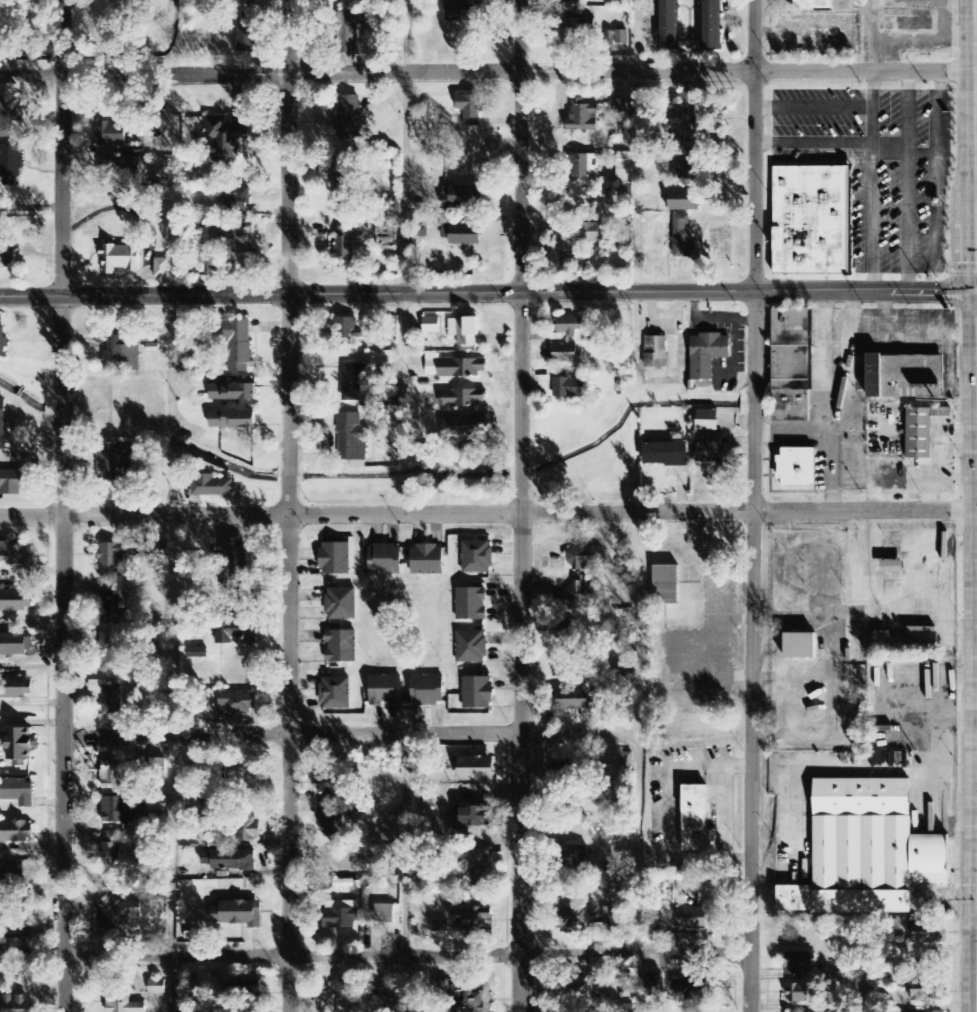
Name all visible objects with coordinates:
building: (811, 4)
building: (464, 11)
building: (669, 24)
building: (711, 24)
building: (350, 31)
building: (617, 38)
building: (246, 41)
road: (488, 76)
road: (810, 106)
road: (868, 108)
building: (470, 109)
building: (11, 118)
building: (349, 118)
building: (584, 118)
building: (687, 119)
building: (113, 134)
building: (225, 139)
road: (810, 141)
road: (902, 150)
building: (5, 153)
building: (585, 166)
building: (623, 168)
road: (905, 168)
building: (120, 169)
building: (688, 171)
building: (343, 177)
road: (937, 183)
building: (463, 196)
building: (684, 200)
building: (238, 201)
road: (868, 215)
building: (812, 218)
road: (523, 230)
building: (422, 231)
road: (290, 233)
building: (585, 233)
building: (463, 234)
building: (684, 238)
building: (238, 239)
building: (346, 244)
building: (6, 248)
building: (120, 259)
building: (162, 269)
road: (905, 275)
road: (488, 291)
building: (431, 325)
building: (570, 325)
building: (352, 331)
building: (464, 331)
road: (906, 334)
building: (2, 340)
building: (240, 346)
building: (153, 348)
building: (124, 350)
building: (656, 352)
building: (565, 353)
building: (708, 355)
building: (790, 364)
building: (454, 367)
building: (903, 374)
building: (354, 381)
building: (569, 388)
building: (233, 392)
building: (463, 398)
building: (232, 420)
building: (707, 420)
building: (2, 425)
building: (463, 428)
building: (924, 430)
building: (352, 440)
building: (712, 450)
building: (665, 454)
building: (115, 460)
building: (797, 468)
road: (523, 469)
road: (289, 473)
building: (11, 483)
building: (212, 486)
road: (64, 505)
road: (754, 506)
road: (488, 513)
building: (13, 554)
building: (475, 555)
building: (160, 556)
building: (118, 557)
building: (333, 557)
building: (384, 558)
building: (426, 558)
building: (586, 559)
building: (233, 565)
building: (893, 567)
building: (0, 576)
building: (666, 585)
building: (584, 594)
building: (15, 602)
building: (339, 602)
building: (470, 602)
building: (109, 611)
building: (236, 631)
building: (565, 639)
building: (338, 644)
building: (16, 645)
building: (469, 645)
building: (800, 646)
building: (196, 653)
building: (111, 655)
building: (426, 688)
building: (18, 689)
building: (384, 689)
building: (475, 691)
building: (332, 692)
building: (109, 697)
building: (572, 700)
building: (238, 704)
road: (340, 735)
road: (521, 744)
road: (289, 746)
building: (476, 770)
building: (116, 779)
building: (331, 784)
building: (18, 792)
building: (120, 811)
building: (475, 816)
building: (333, 820)
building: (697, 822)
building: (16, 832)
building: (248, 832)
building: (113, 847)
building: (869, 850)
building: (576, 859)
building: (228, 861)
road: (637, 866)
building: (347, 867)
building: (481, 868)
building: (12, 877)
building: (343, 884)
building: (238, 914)
building: (385, 915)
building: (341, 916)
building: (119, 917)
building: (16, 918)
building: (692, 919)
building: (473, 920)
building: (572, 922)
building: (440, 927)
building: (16, 951)
road: (405, 956)
building: (799, 963)
building: (654, 981)
building: (157, 988)
building: (443, 989)
building: (694, 989)
building: (343, 990)
building: (578, 990)
building: (927, 990)
building: (800, 993)
building: (382, 995)
building: (472, 998)
building: (123, 1003)
building: (16, 1004)
building: (941, 1011)

